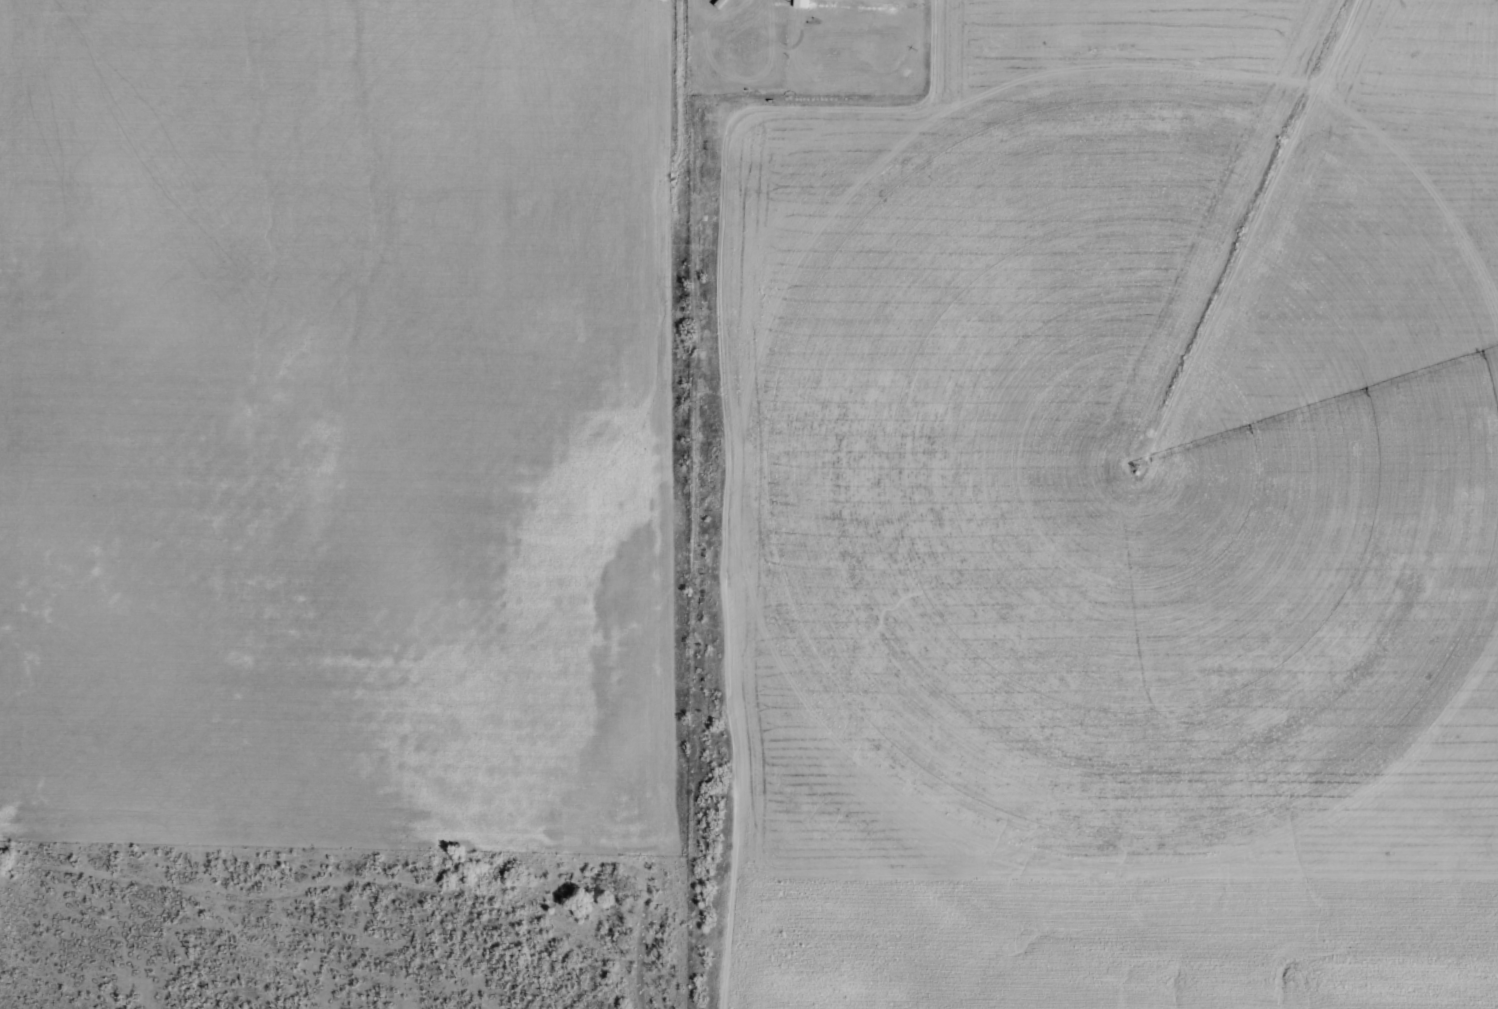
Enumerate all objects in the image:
building: (801, 3)
road: (289, 908)

